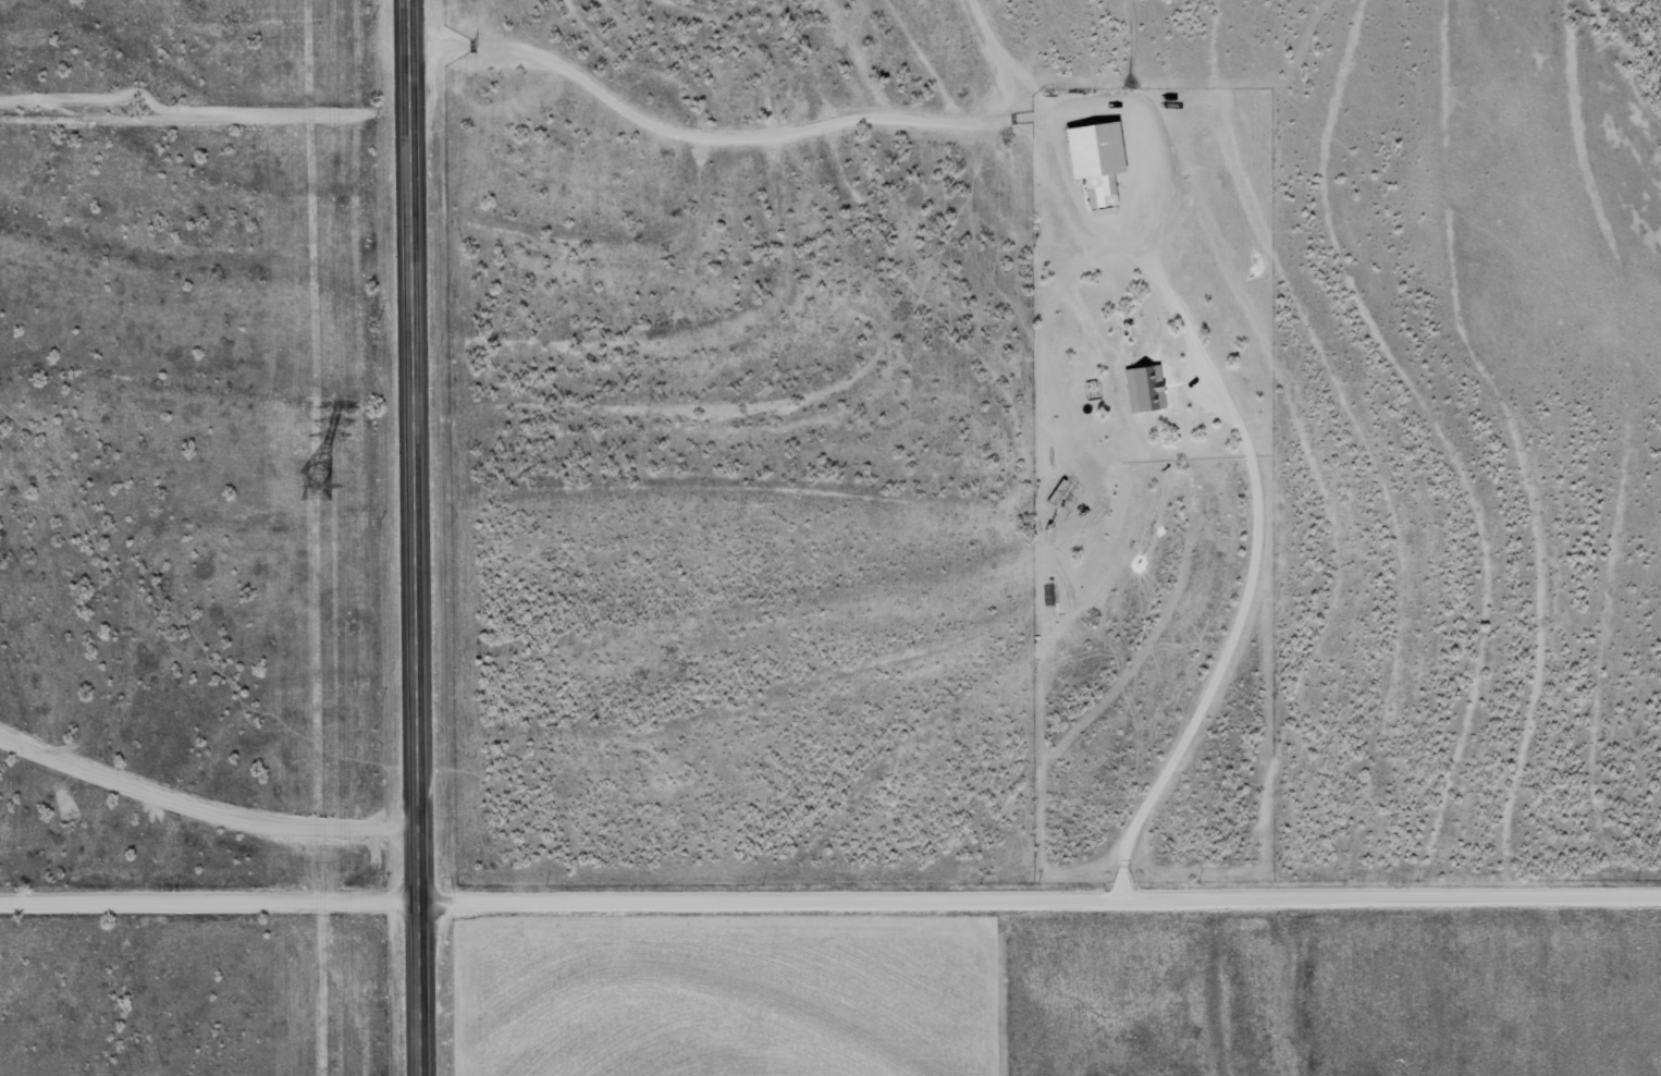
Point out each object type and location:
power tower: (312, 484)
road: (419, 538)
road: (1042, 896)
road: (211, 898)

